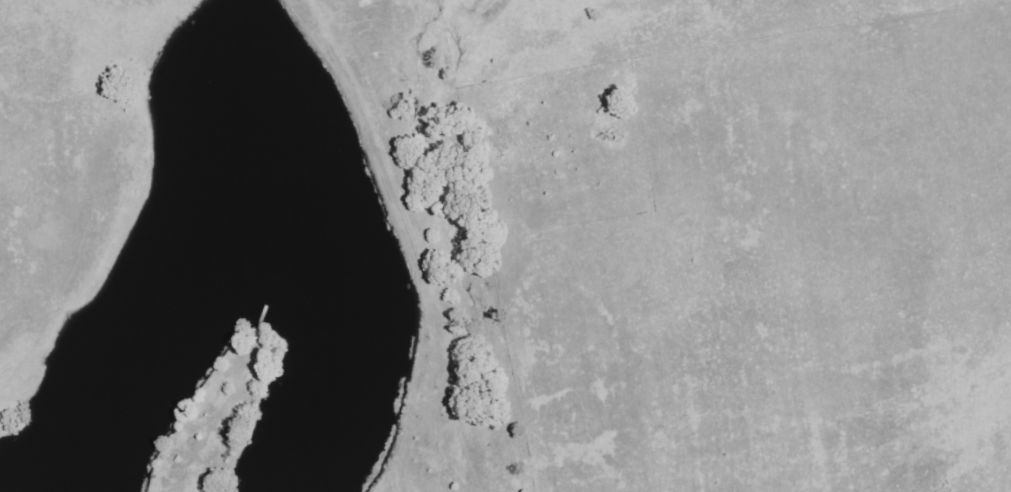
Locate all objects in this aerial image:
road: (479, 241)

